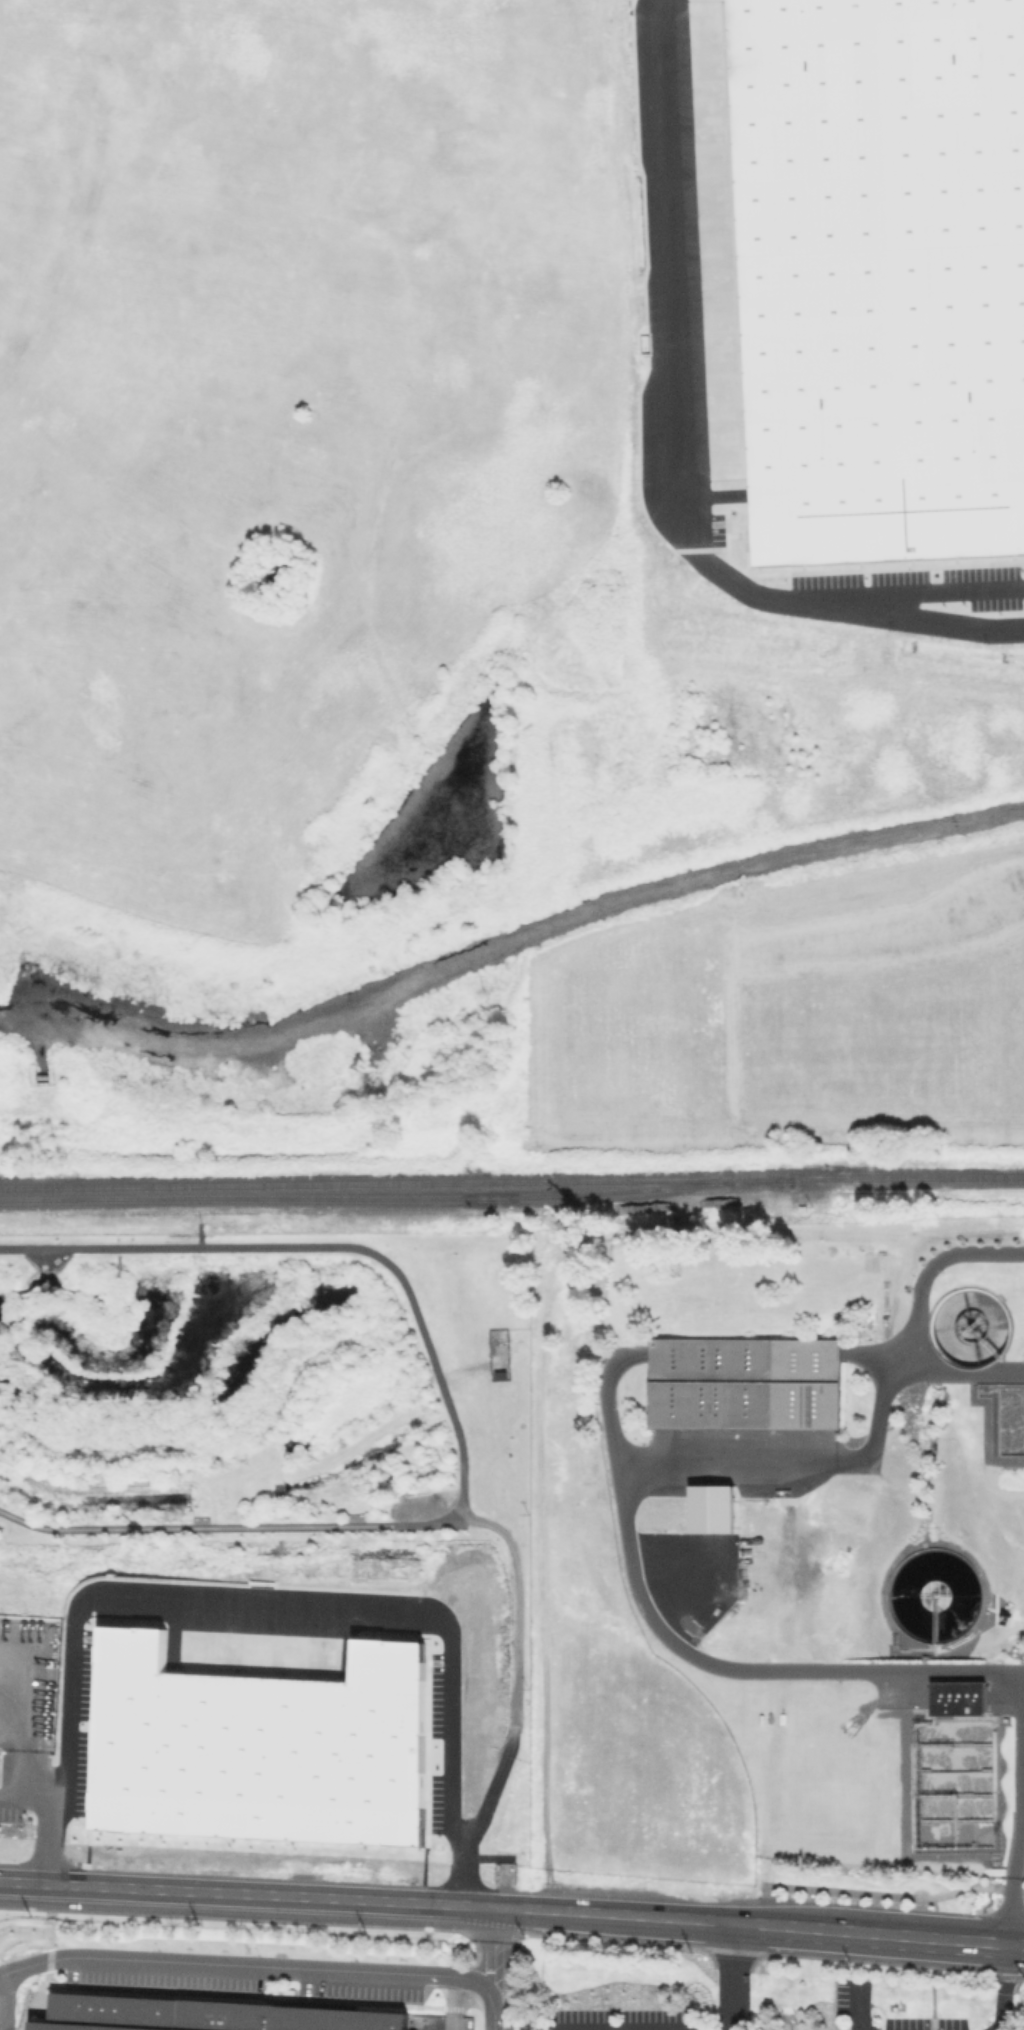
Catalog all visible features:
building: (883, 278)
road: (673, 452)
road: (938, 592)
railway: (511, 1181)
railway: (495, 1196)
railway: (394, 1198)
road: (198, 1234)
road: (962, 1375)
building: (746, 1384)
road: (454, 1421)
road: (642, 1475)
road: (121, 1483)
building: (710, 1508)
wastewater plant: (835, 1521)
road: (272, 1605)
road: (514, 1700)
building: (961, 1700)
road: (11, 1719)
road: (29, 1773)
road: (19, 1797)
road: (44, 1808)
road: (48, 1851)
road: (896, 1895)
road: (366, 1900)
road: (766, 1904)
road: (878, 1932)
road: (1008, 1937)
road: (497, 1943)
road: (242, 1967)
road: (733, 1975)
road: (495, 2005)
road: (853, 2006)
road: (2, 2008)
building: (210, 2016)
road: (618, 2027)
road: (992, 2029)

